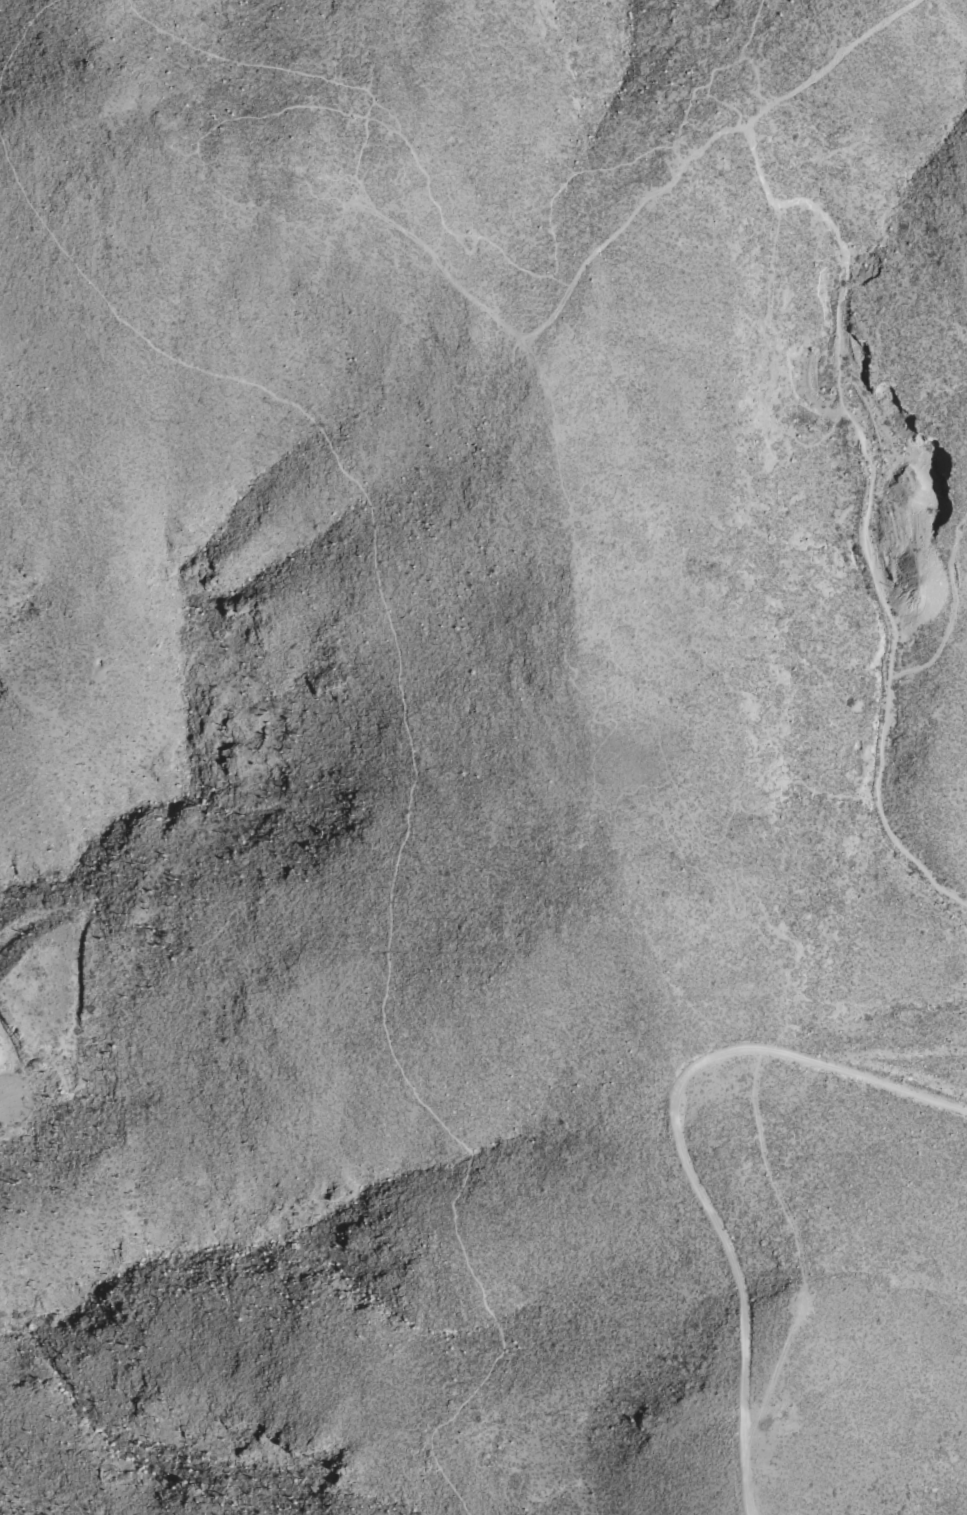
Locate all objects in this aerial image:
road: (22, 45)
road: (744, 54)
road: (832, 61)
road: (270, 70)
road: (373, 111)
road: (232, 122)
road: (555, 246)
road: (537, 325)
road: (867, 502)
road: (951, 611)
road: (415, 776)
road: (4, 1100)
road: (681, 1151)

